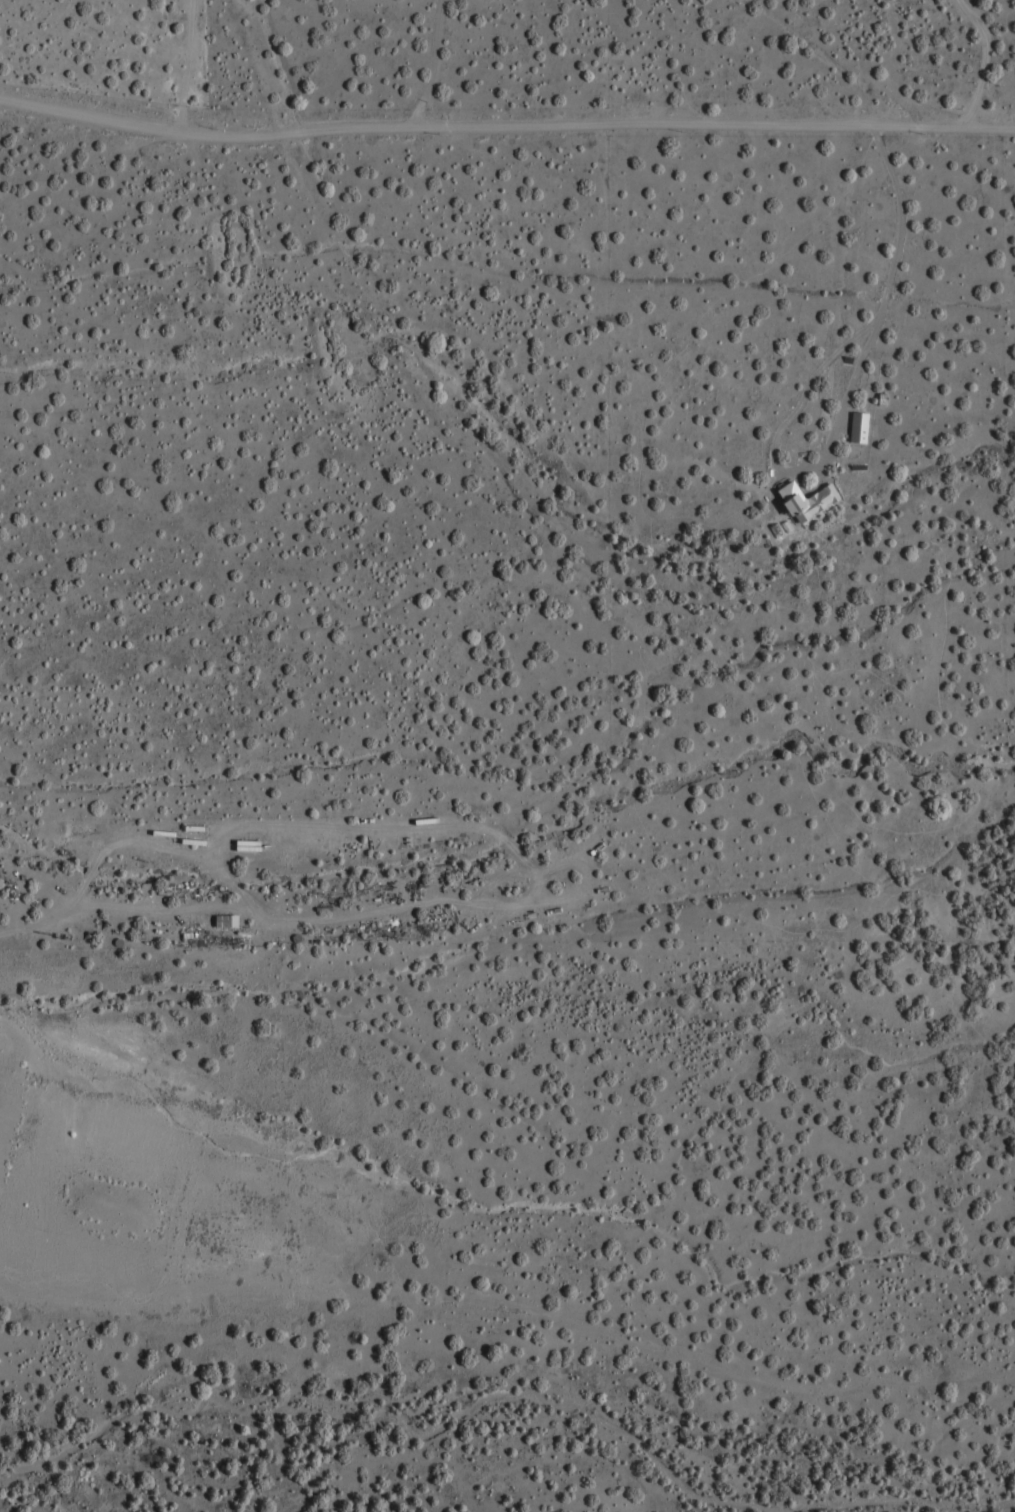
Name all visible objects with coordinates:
building: (864, 428)
building: (812, 501)
building: (253, 848)
building: (228, 921)
road: (509, 1310)
road: (506, 1397)

